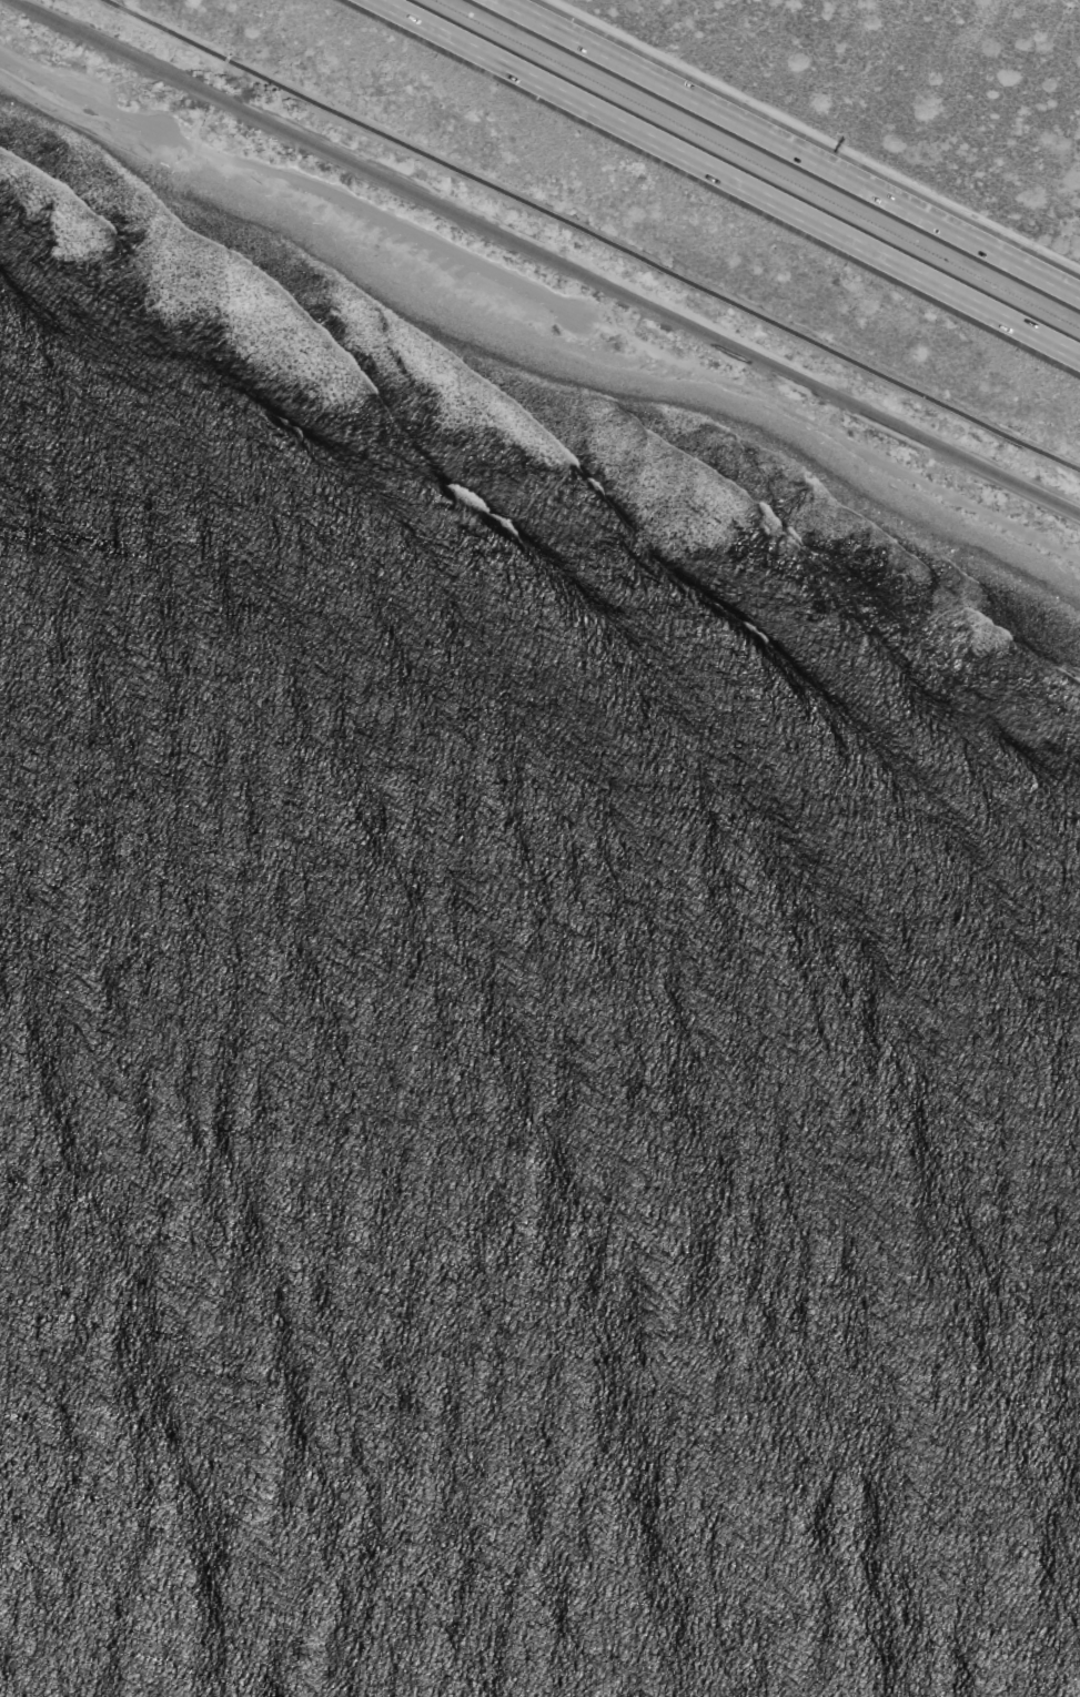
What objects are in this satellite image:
road: (787, 148)
road: (729, 178)
road: (593, 236)
railway: (546, 256)
road: (544, 297)
park: (519, 299)

